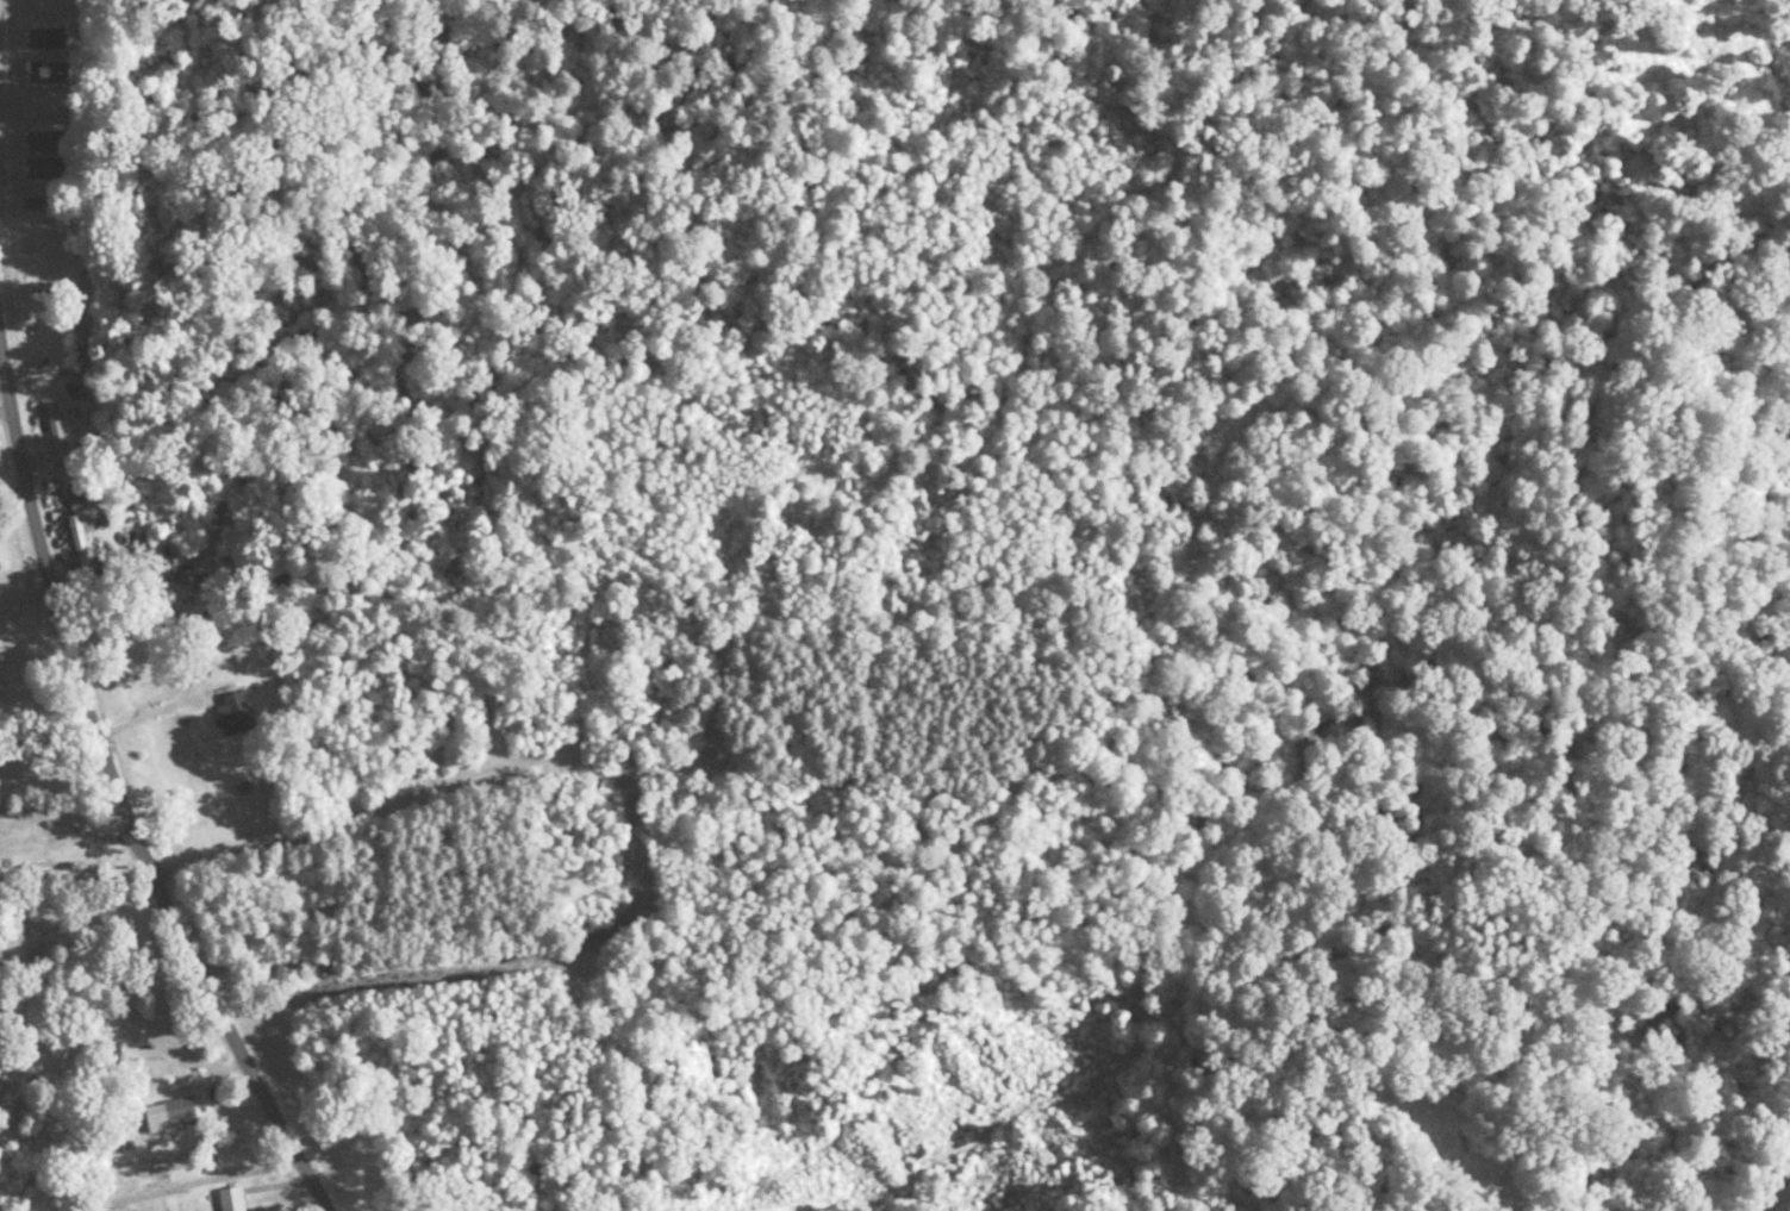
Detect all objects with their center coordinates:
building: (43, 37)
building: (60, 57)
building: (45, 77)
building: (51, 105)
building: (45, 141)
building: (44, 168)
building: (40, 202)
building: (46, 248)
building: (43, 287)
road: (25, 373)
building: (52, 430)
building: (76, 543)
road: (106, 633)
building: (235, 714)
road: (753, 724)
building: (514, 730)
building: (117, 1059)
building: (177, 1111)
building: (229, 1198)

